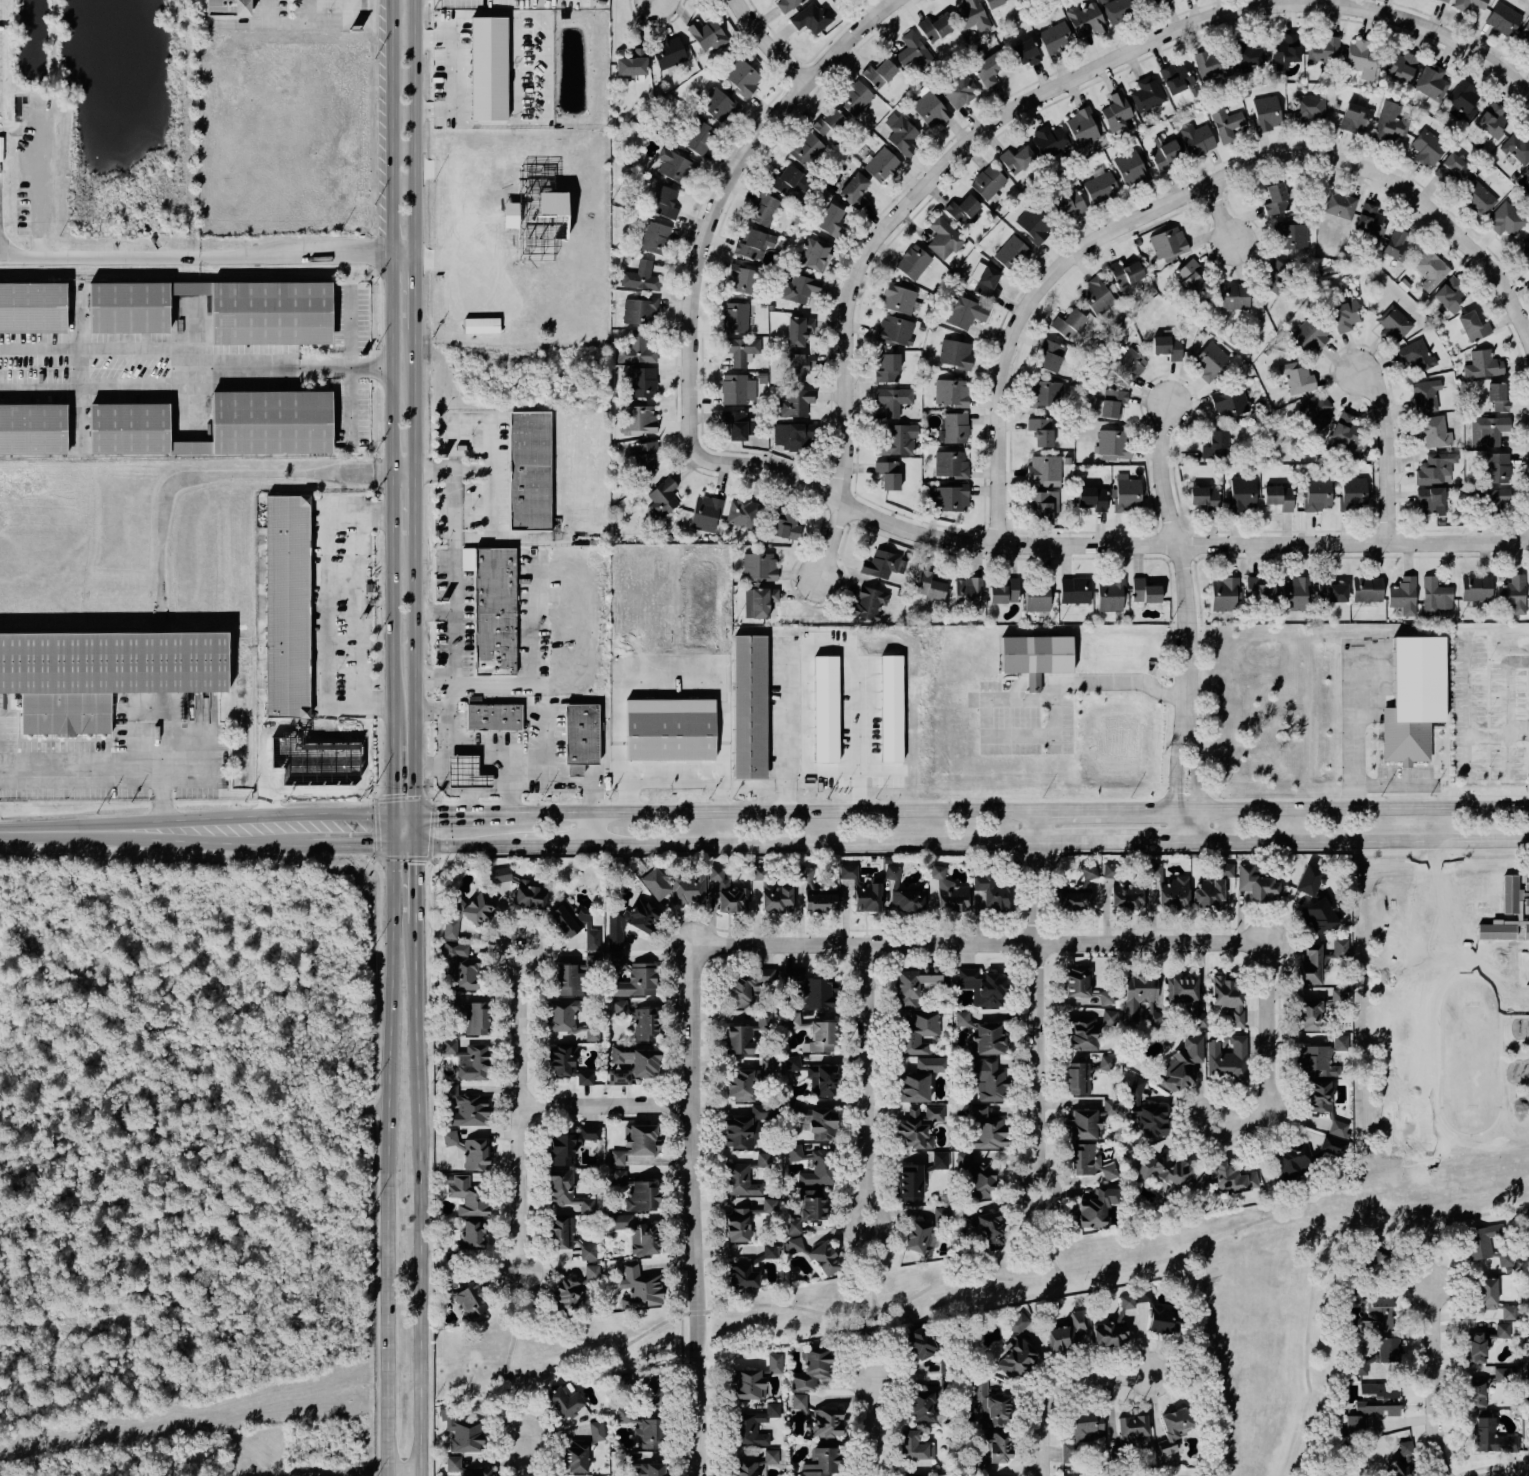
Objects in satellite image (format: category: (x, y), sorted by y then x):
building: (1445, 0)
road: (1326, 1)
building: (1147, 2)
building: (994, 3)
building: (1469, 4)
building: (786, 5)
road: (264, 6)
building: (228, 9)
building: (1119, 10)
building: (973, 15)
building: (812, 18)
building: (1503, 19)
road: (310, 20)
building: (1085, 20)
building: (935, 28)
road: (1435, 32)
building: (1525, 32)
building: (707, 35)
building: (1055, 38)
road: (764, 43)
building: (1286, 50)
building: (1323, 50)
building: (914, 51)
building: (668, 53)
building: (1023, 53)
building: (1247, 57)
building: (1362, 59)
building: (632, 64)
building: (1211, 65)
building: (1401, 66)
building: (488, 69)
building: (989, 69)
building: (879, 73)
road: (460, 74)
building: (742, 77)
building: (1175, 78)
building: (1431, 85)
building: (959, 91)
building: (1146, 94)
building: (855, 98)
building: (1463, 101)
building: (717, 105)
building: (1308, 109)
building: (929, 110)
building: (1116, 112)
building: (1266, 113)
building: (1355, 117)
building: (1492, 120)
building: (829, 122)
building: (1225, 122)
building: (1390, 124)
road: (412, 126)
building: (1082, 127)
building: (900, 134)
building: (699, 138)
building: (1196, 139)
building: (1049, 141)
road: (962, 144)
building: (1427, 147)
building: (1517, 148)
building: (806, 150)
building: (1164, 155)
building: (1017, 160)
building: (881, 165)
building: (674, 166)
building: (1130, 168)
building: (1452, 170)
building: (1527, 172)
building: (791, 181)
building: (987, 182)
building: (1099, 185)
road: (1401, 187)
building: (854, 191)
building: (1275, 199)
building: (1479, 199)
building: (1068, 202)
building: (665, 203)
building: (1339, 205)
building: (763, 209)
building: (962, 209)
road: (1219, 215)
building: (1506, 219)
building: (1369, 220)
building: (831, 221)
building: (1034, 224)
building: (1292, 236)
building: (655, 238)
building: (944, 239)
building: (753, 244)
building: (1169, 244)
building: (1398, 247)
building: (1524, 250)
building: (1011, 252)
road: (399, 253)
road: (193, 254)
building: (814, 255)
building: (913, 262)
road: (705, 263)
building: (1430, 270)
building: (1125, 273)
building: (1189, 276)
building: (1274, 276)
building: (640, 277)
building: (743, 279)
building: (985, 281)
building: (799, 289)
building: (1450, 294)
building: (1096, 296)
building: (1233, 296)
road: (412, 298)
building: (898, 298)
building: (30, 307)
building: (214, 309)
building: (639, 311)
building: (965, 313)
building: (1344, 315)
road: (1019, 316)
building: (735, 317)
building: (1068, 324)
building: (481, 325)
building: (1393, 325)
building: (1473, 326)
building: (798, 330)
building: (895, 330)
building: (1309, 335)
building: (1167, 347)
road: (87, 348)
building: (740, 350)
building: (637, 351)
building: (955, 354)
building: (1049, 356)
building: (1415, 356)
road: (349, 361)
road: (386, 362)
building: (1209, 362)
building: (1482, 365)
road: (276, 366)
building: (799, 366)
building: (1129, 366)
road: (78, 368)
building: (887, 368)
road: (183, 377)
building: (1297, 378)
building: (643, 382)
road: (88, 389)
building: (737, 390)
building: (951, 393)
building: (1045, 394)
building: (1425, 396)
building: (1497, 397)
building: (892, 400)
building: (1229, 402)
building: (795, 403)
building: (1113, 403)
road: (411, 408)
building: (1317, 411)
building: (638, 420)
building: (735, 424)
building: (214, 425)
building: (30, 429)
building: (954, 429)
building: (1490, 429)
building: (1041, 431)
building: (1436, 432)
building: (795, 435)
building: (1346, 435)
building: (898, 440)
building: (1114, 445)
building: (1215, 446)
road: (1385, 451)
building: (645, 455)
building: (950, 464)
building: (1496, 468)
building: (1435, 469)
road: (471, 470)
building: (1044, 470)
building: (528, 472)
road: (399, 474)
road: (489, 475)
building: (888, 475)
road: (206, 476)
building: (1127, 494)
building: (1242, 494)
building: (1317, 494)
building: (1353, 494)
building: (1203, 496)
building: (1279, 497)
building: (662, 498)
building: (1091, 498)
building: (949, 499)
building: (1497, 500)
building: (1430, 501)
building: (1044, 504)
road: (411, 507)
building: (706, 513)
building: (743, 513)
building: (786, 525)
road: (828, 541)
road: (1180, 544)
building: (882, 565)
building: (759, 567)
building: (929, 587)
building: (1476, 588)
building: (1367, 589)
building: (1075, 590)
building: (1258, 590)
building: (1331, 590)
building: (967, 591)
building: (1004, 591)
building: (1144, 591)
building: (1224, 594)
building: (1294, 594)
building: (1110, 595)
building: (1512, 595)
building: (1037, 596)
building: (1403, 596)
building: (1435, 596)
building: (758, 602)
building: (869, 603)
building: (286, 606)
road: (431, 611)
building: (493, 613)
road: (327, 618)
road: (1185, 621)
road: (359, 624)
road: (452, 645)
building: (1036, 656)
road: (259, 662)
road: (666, 671)
building: (103, 674)
road: (411, 678)
road: (1100, 681)
road: (544, 683)
road: (1468, 685)
building: (1413, 699)
road: (373, 703)
building: (749, 709)
building: (825, 709)
building: (891, 709)
road: (431, 711)
building: (492, 719)
road: (778, 732)
road: (1351, 732)
road: (1476, 733)
building: (580, 735)
building: (669, 742)
road: (859, 743)
road: (439, 752)
road: (103, 768)
road: (385, 771)
building: (465, 773)
gas station: (465, 774)
road: (299, 775)
road: (576, 782)
road: (675, 782)
road: (1393, 784)
road: (447, 791)
road: (465, 803)
road: (1315, 812)
road: (1068, 813)
road: (756, 815)
traffic signals: (385, 816)
road: (398, 816)
traffic signals: (411, 816)
road: (445, 816)
road: (192, 822)
road: (385, 829)
road: (411, 829)
road: (75, 833)
road: (231, 839)
road: (1358, 841)
road: (348, 843)
traffic signals: (385, 843)
road: (398, 843)
traffic signals: (411, 843)
road: (460, 843)
road: (548, 843)
road: (1151, 843)
road: (851, 844)
building: (1225, 869)
building: (1109, 871)
building: (758, 872)
building: (1089, 873)
building: (500, 875)
building: (1310, 880)
building: (1526, 882)
building: (1256, 884)
building: (676, 886)
road: (411, 888)
building: (1170, 888)
building: (863, 889)
building: (994, 890)
building: (728, 892)
building: (949, 892)
building: (815, 894)
building: (1208, 894)
building: (1510, 894)
building: (1126, 895)
building: (530, 896)
building: (776, 898)
building: (908, 900)
building: (1526, 905)
building: (466, 913)
road: (386, 914)
building: (1320, 915)
building: (629, 922)
building: (575, 926)
building: (1516, 933)
road: (977, 944)
building: (1319, 960)
building: (617, 962)
building: (589, 963)
building: (460, 968)
building: (792, 974)
building: (569, 981)
building: (637, 981)
building: (913, 984)
building: (747, 986)
building: (982, 986)
building: (1084, 986)
building: (1182, 989)
building: (818, 994)
road: (1033, 997)
building: (1228, 997)
building: (1337, 997)
building: (1141, 998)
building: (1310, 1015)
building: (476, 1018)
building: (568, 1019)
building: (638, 1020)
building: (792, 1020)
building: (1089, 1029)
building: (920, 1033)
building: (746, 1034)
building: (982, 1035)
building: (822, 1037)
road: (1271, 1056)
building: (1321, 1057)
building: (1227, 1060)
building: (473, 1063)
building: (633, 1063)
building: (1106, 1063)
building: (931, 1064)
building: (1181, 1064)
building: (567, 1065)
building: (767, 1066)
building: (815, 1076)
building: (1079, 1078)
building: (987, 1079)
road: (863, 1083)
building: (740, 1085)
building: (914, 1087)
building: (1319, 1096)
road: (603, 1103)
building: (469, 1111)
road: (515, 1112)
building: (1145, 1112)
building: (814, 1120)
building: (1089, 1121)
building: (747, 1126)
building: (918, 1128)
building: (1338, 1128)
building: (986, 1129)
building: (636, 1143)
building: (570, 1145)
building: (1333, 1146)
building: (468, 1151)
building: (938, 1161)
building: (1292, 1161)
building: (1090, 1162)
building: (814, 1165)
road: (1269, 1165)
building: (1163, 1171)
building: (745, 1176)
building: (977, 1176)
building: (1225, 1179)
building: (909, 1183)
building: (566, 1191)
building: (466, 1197)
road: (417, 1204)
building: (812, 1204)
building: (769, 1206)
building: (1096, 1208)
road: (692, 1212)
building: (967, 1220)
building: (737, 1226)
building: (793, 1226)
building: (991, 1229)
road: (1041, 1229)
road: (382, 1230)
building: (636, 1233)
building: (559, 1234)
building: (471, 1235)
building: (919, 1238)
building: (1486, 1244)
building: (793, 1245)
road: (1450, 1248)
building: (1527, 1249)
building: (770, 1251)
building: (587, 1252)
building: (825, 1259)
road: (1319, 1259)
building: (1376, 1259)
road: (868, 1266)
building: (741, 1275)
road: (1019, 1277)
park: (1247, 1287)
building: (575, 1288)
building: (639, 1288)
building: (1487, 1293)
building: (471, 1301)
park: (852, 1304)
building: (1508, 1312)
building: (1380, 1313)
building: (1017, 1323)
building: (1114, 1325)
building: (1068, 1332)
park: (557, 1341)
road: (869, 1342)
building: (1483, 1342)
building: (919, 1343)
road: (508, 1348)
building: (1388, 1349)
road: (602, 1355)
building: (1016, 1357)
building: (774, 1363)
building: (1360, 1367)
building: (812, 1370)
building: (1504, 1374)
building: (1528, 1374)
road: (1439, 1379)
building: (619, 1381)
building: (748, 1384)
building: (1379, 1390)
road: (1061, 1391)
building: (1477, 1391)
building: (798, 1401)
building: (565, 1402)
building: (989, 1404)
building: (923, 1406)
building: (1368, 1414)
building: (826, 1423)
road: (868, 1424)
building: (754, 1425)
building: (1174, 1429)
building: (642, 1430)
building: (596, 1431)
building: (1133, 1431)
building: (462, 1432)
building: (1081, 1434)
building: (1491, 1437)
road: (530, 1445)
building: (914, 1446)
building: (995, 1447)
building: (575, 1458)
building: (1402, 1460)
building: (822, 1462)
building: (755, 1465)
building: (466, 1468)
building: (650, 1469)
road: (1514, 1473)
building: (1069, 1475)

